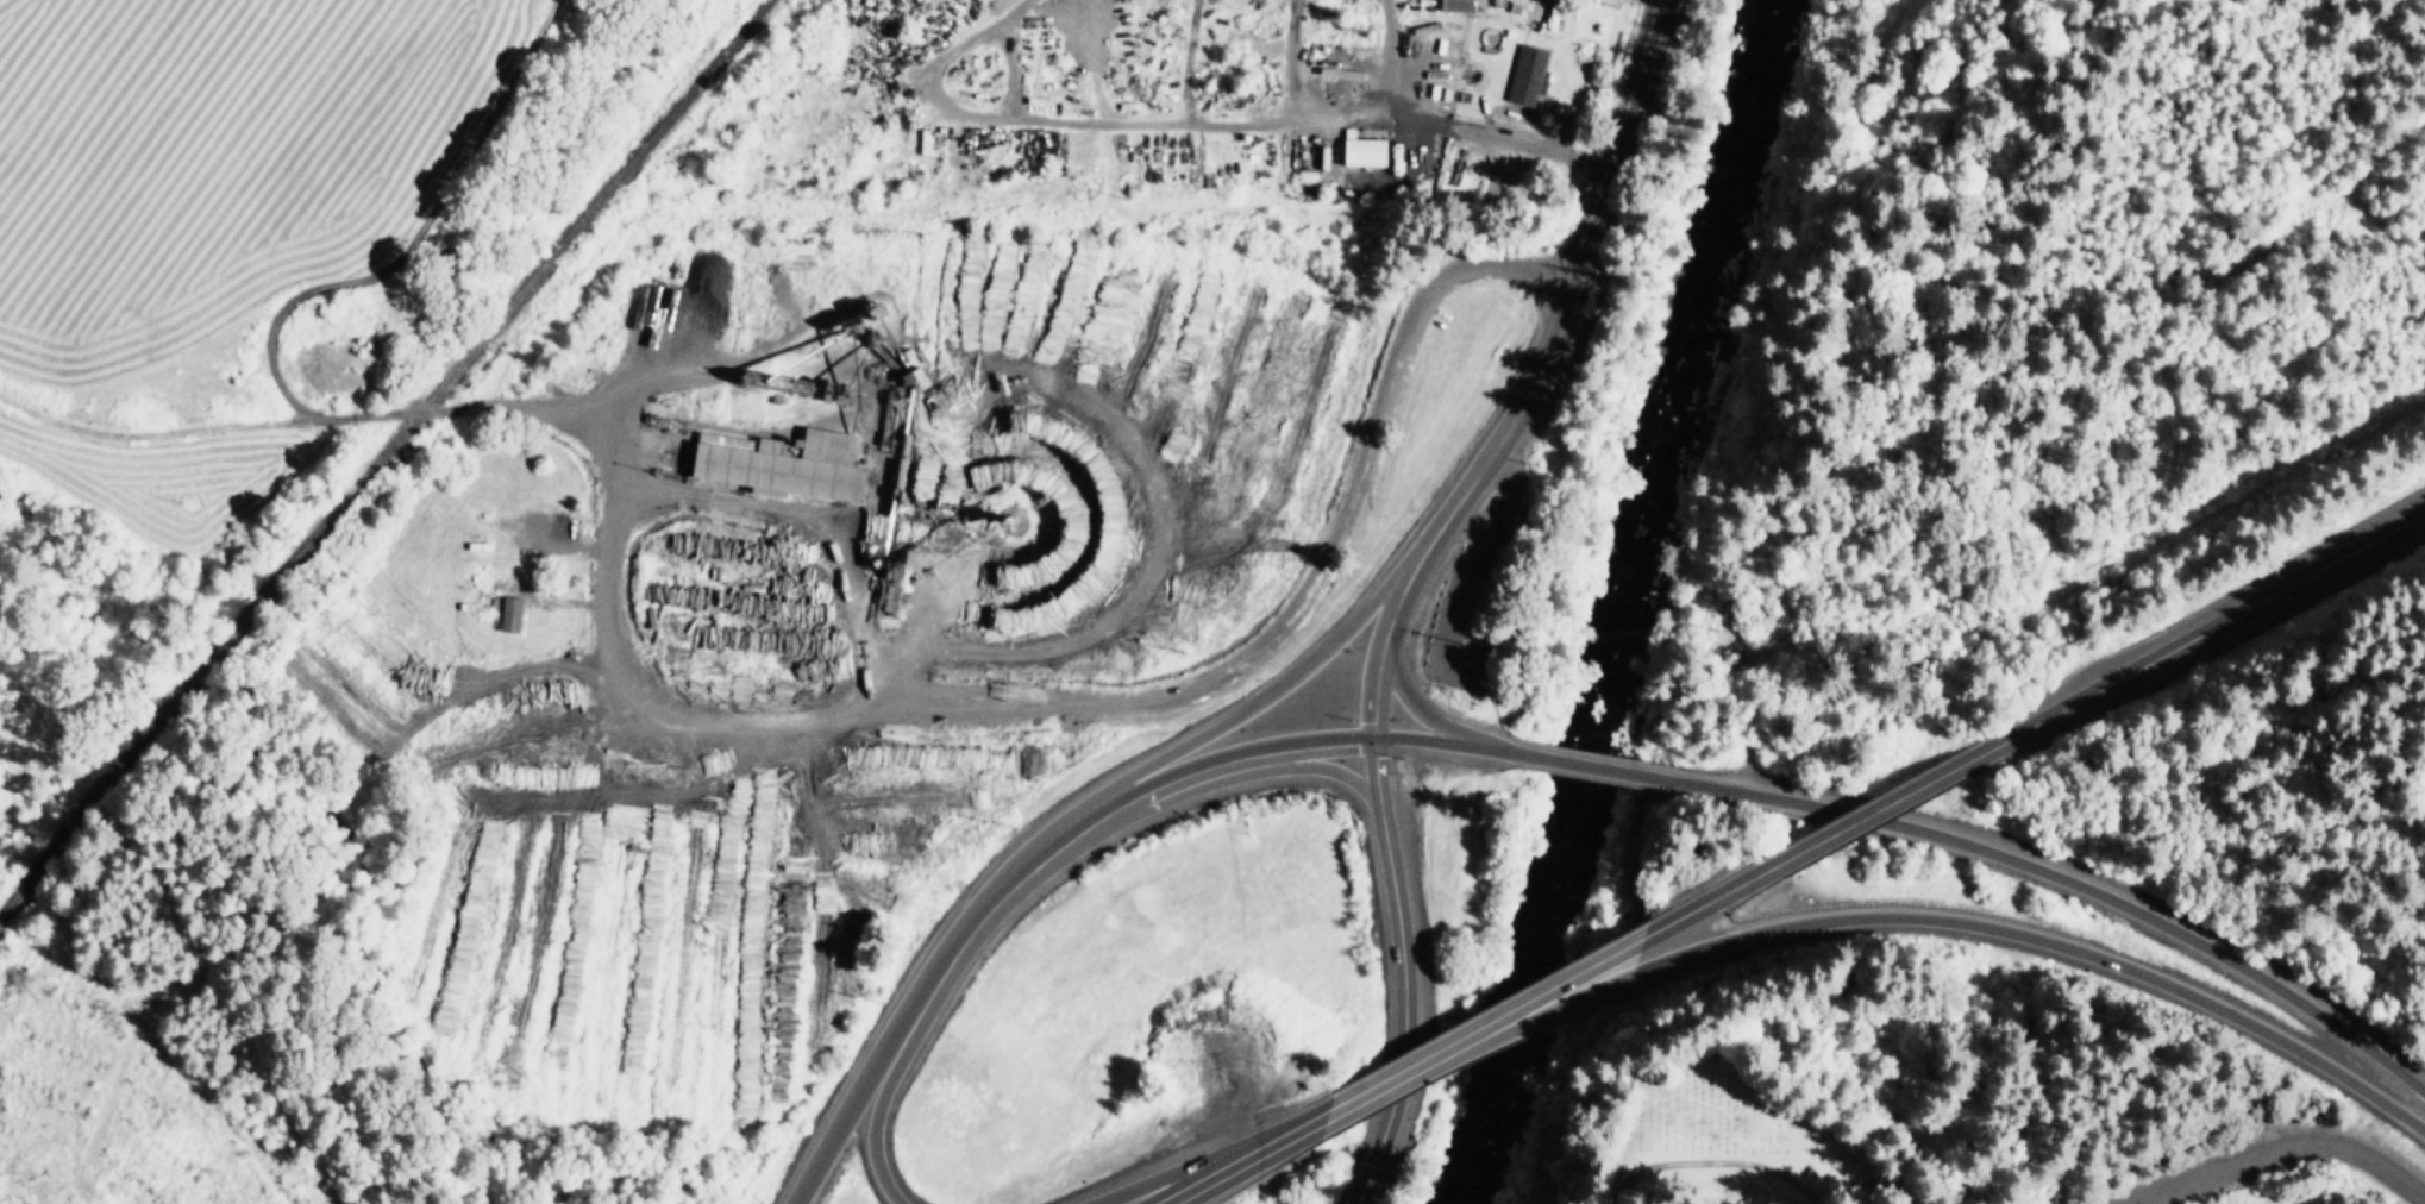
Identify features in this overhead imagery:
building: (1461, 7)
building: (1549, 12)
building: (1530, 77)
road: (1455, 126)
building: (1367, 152)
road: (1449, 199)
road: (1574, 296)
building: (921, 380)
road: (149, 433)
railway: (381, 456)
building: (787, 464)
road: (808, 521)
road: (1397, 600)
river: (1622, 602)
building: (513, 614)
road: (2197, 633)
road: (1374, 689)
road: (1262, 700)
road: (944, 702)
road: (1416, 708)
road: (1440, 742)
road: (1302, 748)
road: (1315, 767)
road: (1596, 767)
road: (1374, 777)
road: (1164, 785)
road: (1878, 809)
road: (2078, 885)
road: (1717, 901)
road: (986, 914)
road: (2049, 940)
road: (1525, 1007)
road: (1402, 1011)
road: (1521, 1026)
road: (2406, 1070)
road: (1366, 1092)
park: (1800, 1108)
road: (842, 1115)
road: (875, 1121)
road: (1303, 1124)
road: (2277, 1150)
road: (1189, 1168)
road: (1215, 1171)
crop: (2239, 1173)

